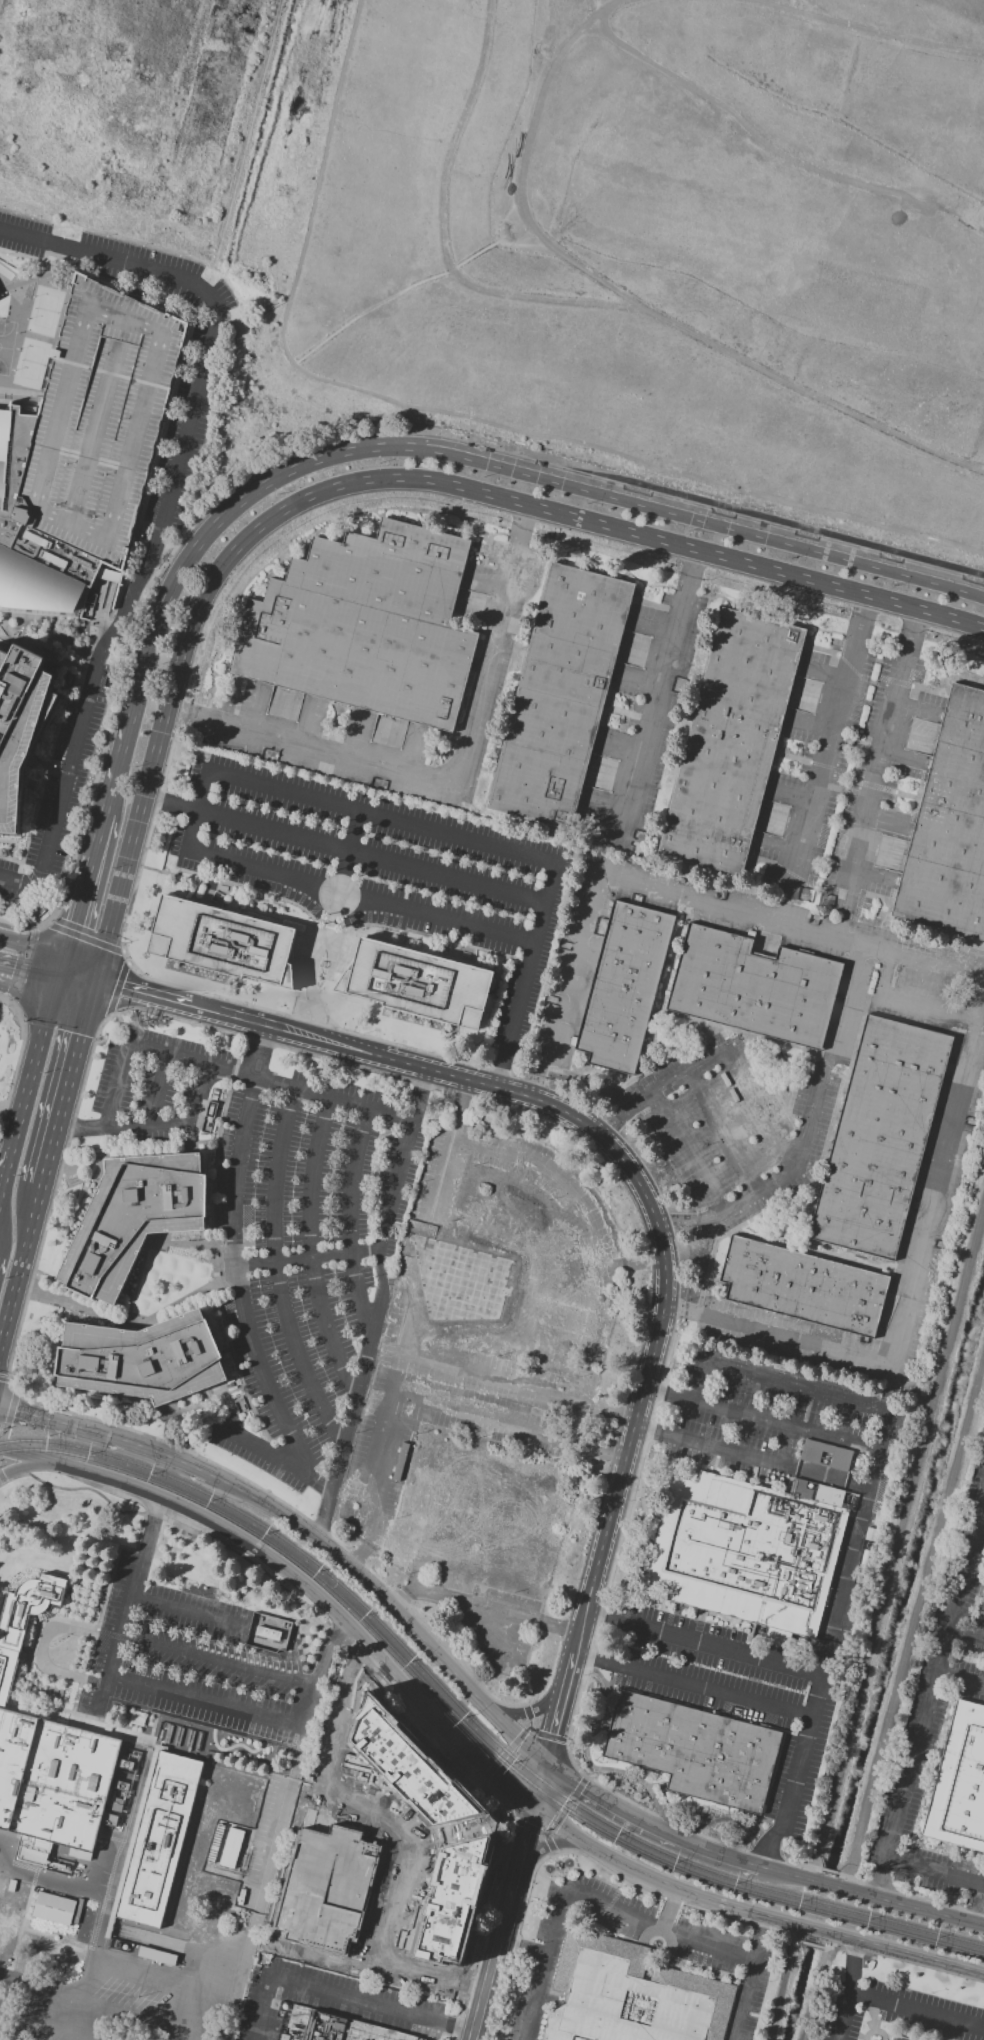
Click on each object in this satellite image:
road: (806, 6)
road: (872, 28)
road: (768, 145)
road: (326, 152)
road: (442, 230)
landfill: (645, 243)
park: (5, 274)
road: (136, 288)
road: (410, 288)
road: (634, 301)
road: (266, 310)
park: (43, 311)
road: (232, 324)
park: (5, 345)
road: (183, 357)
park: (30, 364)
parking lot: (191, 422)
road: (218, 423)
building: (102, 424)
parking garage: (102, 424)
road: (603, 450)
road: (625, 496)
road: (167, 505)
road: (746, 514)
road: (193, 534)
road: (633, 536)
building: (34, 539)
road: (184, 558)
building: (364, 624)
building: (559, 695)
building: (22, 731)
road: (161, 731)
road: (121, 737)
building: (730, 741)
parking lot: (60, 801)
road: (172, 802)
road: (199, 809)
road: (381, 816)
building: (949, 824)
road: (94, 832)
road: (349, 851)
road: (372, 856)
road: (360, 897)
road: (72, 909)
traffic signals: (69, 924)
building: (228, 942)
road: (29, 948)
road: (530, 957)
traffic signals: (13, 969)
road: (27, 970)
road: (74, 973)
building: (417, 984)
building: (623, 986)
building: (752, 986)
traffic signals: (123, 988)
road: (149, 994)
road: (288, 1031)
traffic signals: (78, 1037)
road: (148, 1051)
road: (254, 1065)
road: (500, 1070)
parking lot: (153, 1083)
road: (66, 1084)
road: (160, 1090)
road: (28, 1091)
road: (420, 1093)
road: (348, 1100)
road: (167, 1122)
road: (72, 1128)
building: (879, 1137)
road: (392, 1200)
building: (135, 1216)
road: (350, 1216)
road: (310, 1246)
parking lot: (309, 1252)
road: (308, 1258)
road: (20, 1269)
road: (664, 1269)
road: (278, 1270)
road: (240, 1277)
building: (802, 1286)
road: (681, 1309)
road: (796, 1339)
building: (142, 1358)
road: (414, 1358)
road: (5, 1379)
road: (11, 1387)
road: (888, 1388)
road: (351, 1412)
road: (8, 1424)
parking lot: (783, 1425)
road: (789, 1425)
road: (887, 1430)
road: (105, 1434)
building: (825, 1454)
road: (35, 1457)
road: (277, 1458)
road: (35, 1467)
road: (1, 1479)
road: (151, 1526)
building: (753, 1550)
road: (278, 1562)
road: (848, 1580)
road: (388, 1602)
building: (29, 1605)
road: (484, 1606)
building: (982, 1610)
road: (190, 1613)
road: (126, 1616)
road: (913, 1622)
road: (966, 1632)
building: (268, 1633)
road: (268, 1634)
road: (41, 1641)
road: (726, 1648)
road: (292, 1660)
road: (217, 1661)
road: (318, 1671)
road: (960, 1679)
road: (933, 1683)
parking lot: (740, 1694)
road: (102, 1695)
road: (206, 1701)
road: (773, 1706)
road: (560, 1708)
road: (528, 1711)
railway: (473, 1719)
railway: (473, 1729)
road: (547, 1736)
road: (516, 1748)
building: (698, 1752)
building: (318, 1759)
road: (571, 1761)
traffic signals: (546, 1763)
building: (409, 1767)
road: (484, 1767)
building: (52, 1781)
road: (539, 1784)
building: (960, 1785)
road: (501, 1799)
traffic signals: (533, 1806)
road: (566, 1806)
road: (394, 1814)
road: (323, 1817)
road: (647, 1824)
road: (537, 1831)
road: (387, 1837)
road: (553, 1843)
building: (155, 1844)
road: (518, 1857)
road: (934, 1871)
road: (778, 1873)
road: (405, 1877)
road: (655, 1881)
road: (877, 1884)
road: (825, 1886)
road: (72, 1888)
building: (326, 1891)
building: (454, 1898)
road: (930, 1901)
road: (669, 1909)
road: (918, 1910)
road: (980, 1911)
building: (50, 1917)
road: (658, 1925)
road: (816, 1931)
road: (361, 1943)
building: (119, 1945)
road: (363, 1951)
building: (157, 1956)
road: (911, 1957)
road: (543, 1962)
road: (852, 1968)
road: (489, 1974)
road: (747, 1979)
road: (781, 1981)
road: (1, 1983)
building: (628, 1997)
road: (213, 1998)
road: (353, 2000)
road: (261, 2009)
road: (917, 2012)
road: (24, 2013)
road: (843, 2017)
road: (226, 2021)
building: (332, 2027)
road: (455, 2028)
building: (898, 2038)

